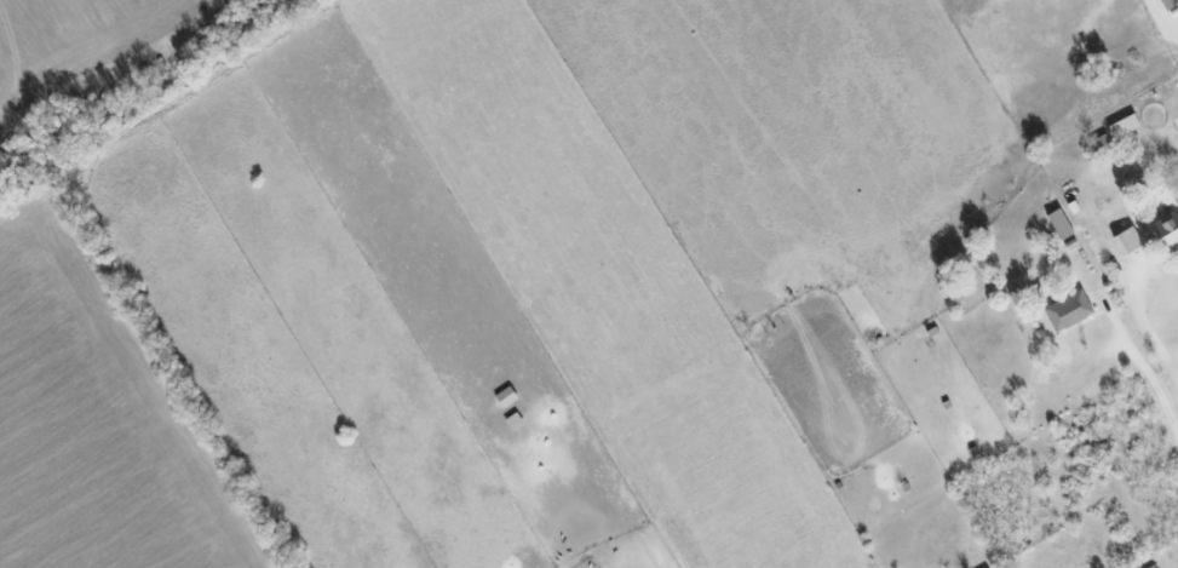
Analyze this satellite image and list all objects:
road: (1168, 153)
building: (1163, 223)
building: (1122, 240)
building: (1065, 310)
road: (1139, 317)
road: (1143, 372)

